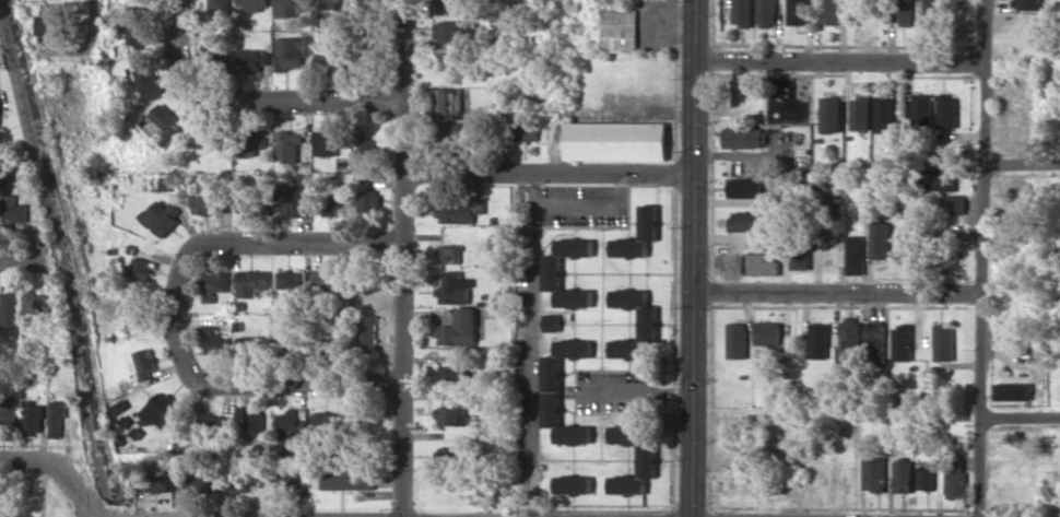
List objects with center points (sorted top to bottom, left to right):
building: (450, 1)
building: (330, 3)
building: (255, 4)
building: (1028, 4)
building: (291, 8)
road: (94, 10)
building: (220, 10)
building: (932, 10)
building: (370, 12)
building: (743, 12)
building: (799, 12)
building: (832, 12)
building: (904, 12)
building: (767, 13)
building: (51, 20)
building: (139, 26)
building: (620, 30)
building: (457, 33)
building: (293, 51)
road: (840, 58)
building: (254, 60)
building: (332, 61)
building: (151, 82)
road: (401, 85)
building: (741, 98)
building: (449, 103)
road: (248, 106)
building: (921, 110)
building: (947, 110)
building: (831, 114)
building: (860, 114)
building: (884, 114)
building: (164, 125)
building: (527, 130)
building: (456, 131)
building: (208, 133)
building: (746, 137)
building: (327, 140)
building: (617, 140)
building: (251, 145)
building: (290, 146)
building: (367, 150)
road: (1022, 161)
road: (551, 172)
building: (943, 180)
building: (746, 187)
building: (294, 197)
building: (370, 200)
building: (212, 204)
building: (254, 204)
building: (330, 204)
building: (955, 204)
building: (16, 210)
building: (460, 212)
building: (164, 216)
building: (649, 221)
building: (746, 221)
building: (881, 239)
building: (450, 254)
building: (856, 255)
road: (22, 256)
road: (695, 258)
building: (800, 258)
road: (980, 258)
building: (761, 263)
building: (144, 268)
building: (554, 272)
building: (292, 279)
building: (330, 280)
building: (216, 284)
building: (456, 289)
road: (838, 291)
building: (38, 301)
building: (137, 307)
building: (12, 308)
road: (173, 309)
building: (553, 322)
building: (649, 322)
building: (460, 328)
building: (370, 330)
building: (851, 331)
building: (768, 332)
building: (878, 337)
building: (738, 340)
building: (818, 340)
building: (217, 341)
building: (250, 342)
building: (904, 342)
building: (945, 342)
building: (291, 343)
road: (404, 343)
building: (148, 363)
building: (455, 375)
building: (553, 390)
building: (1014, 391)
building: (163, 410)
building: (10, 412)
building: (452, 415)
road: (1020, 416)
building: (35, 419)
building: (59, 419)
building: (326, 421)
building: (215, 422)
building: (292, 425)
building: (451, 454)
building: (648, 459)
road: (62, 470)
building: (875, 473)
building: (282, 475)
building: (904, 475)
building: (927, 477)
building: (350, 478)
building: (956, 478)
building: (160, 481)
building: (574, 484)
road: (97, 516)

